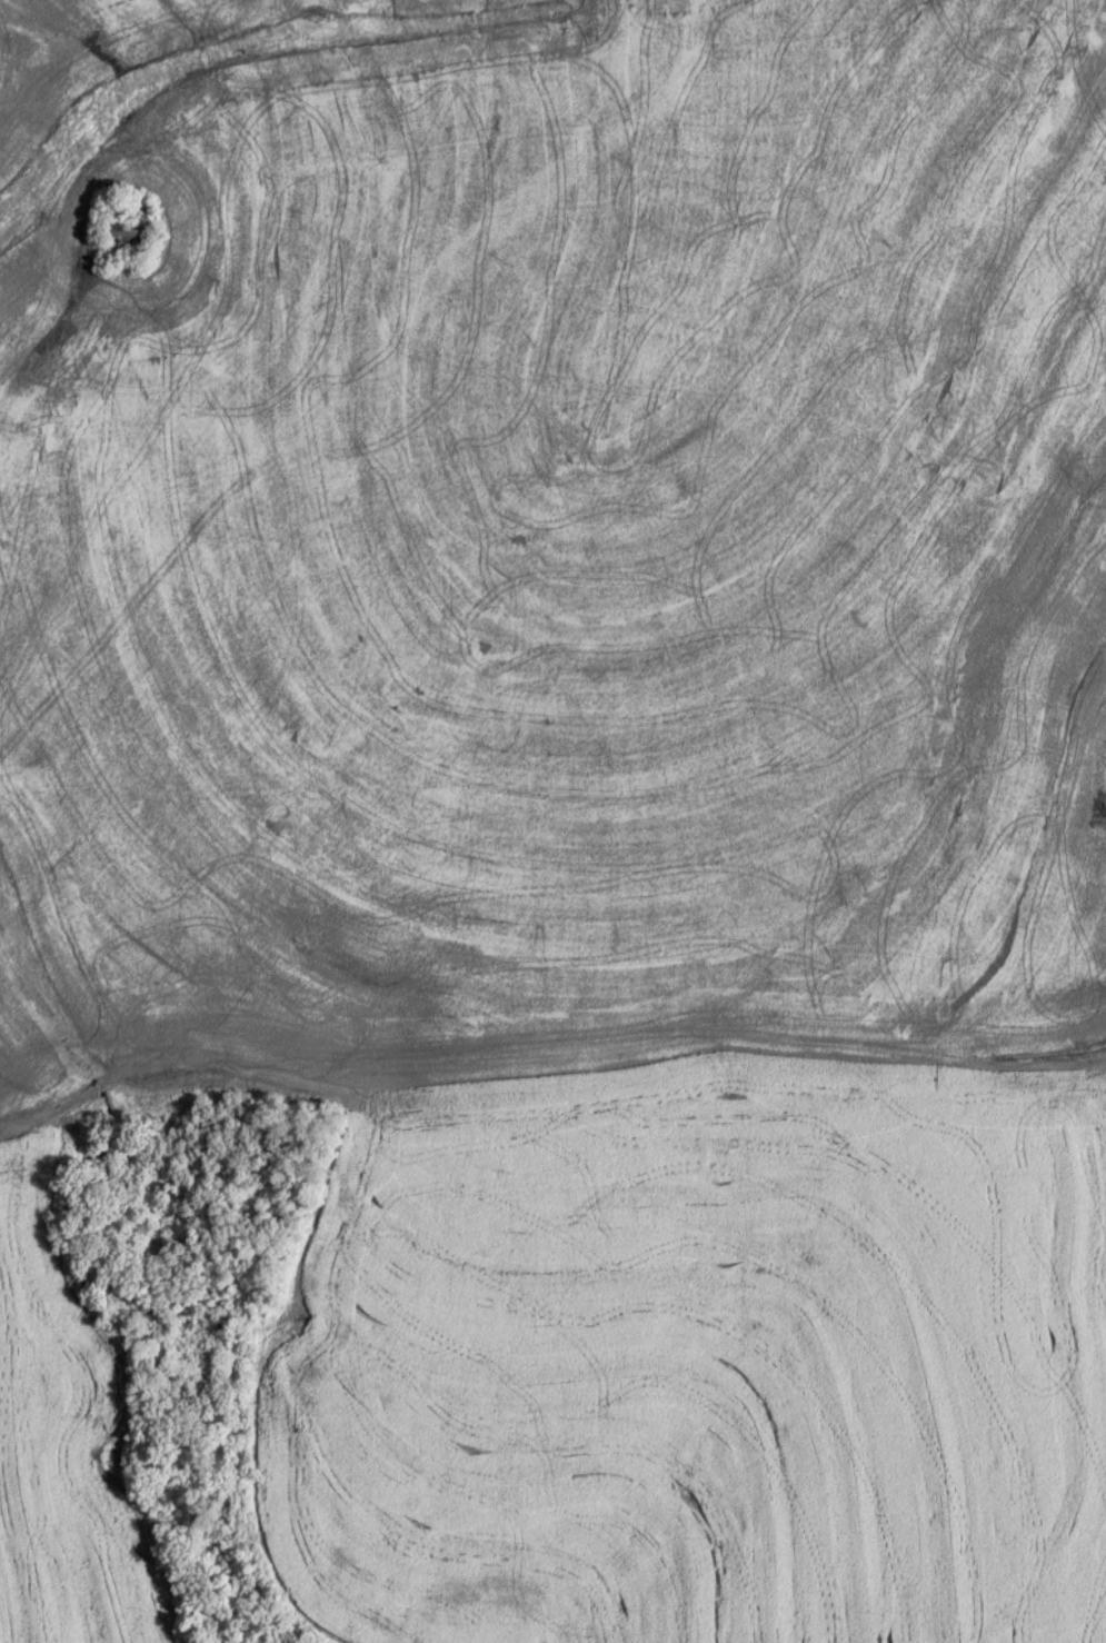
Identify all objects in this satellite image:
building: (133, 236)

